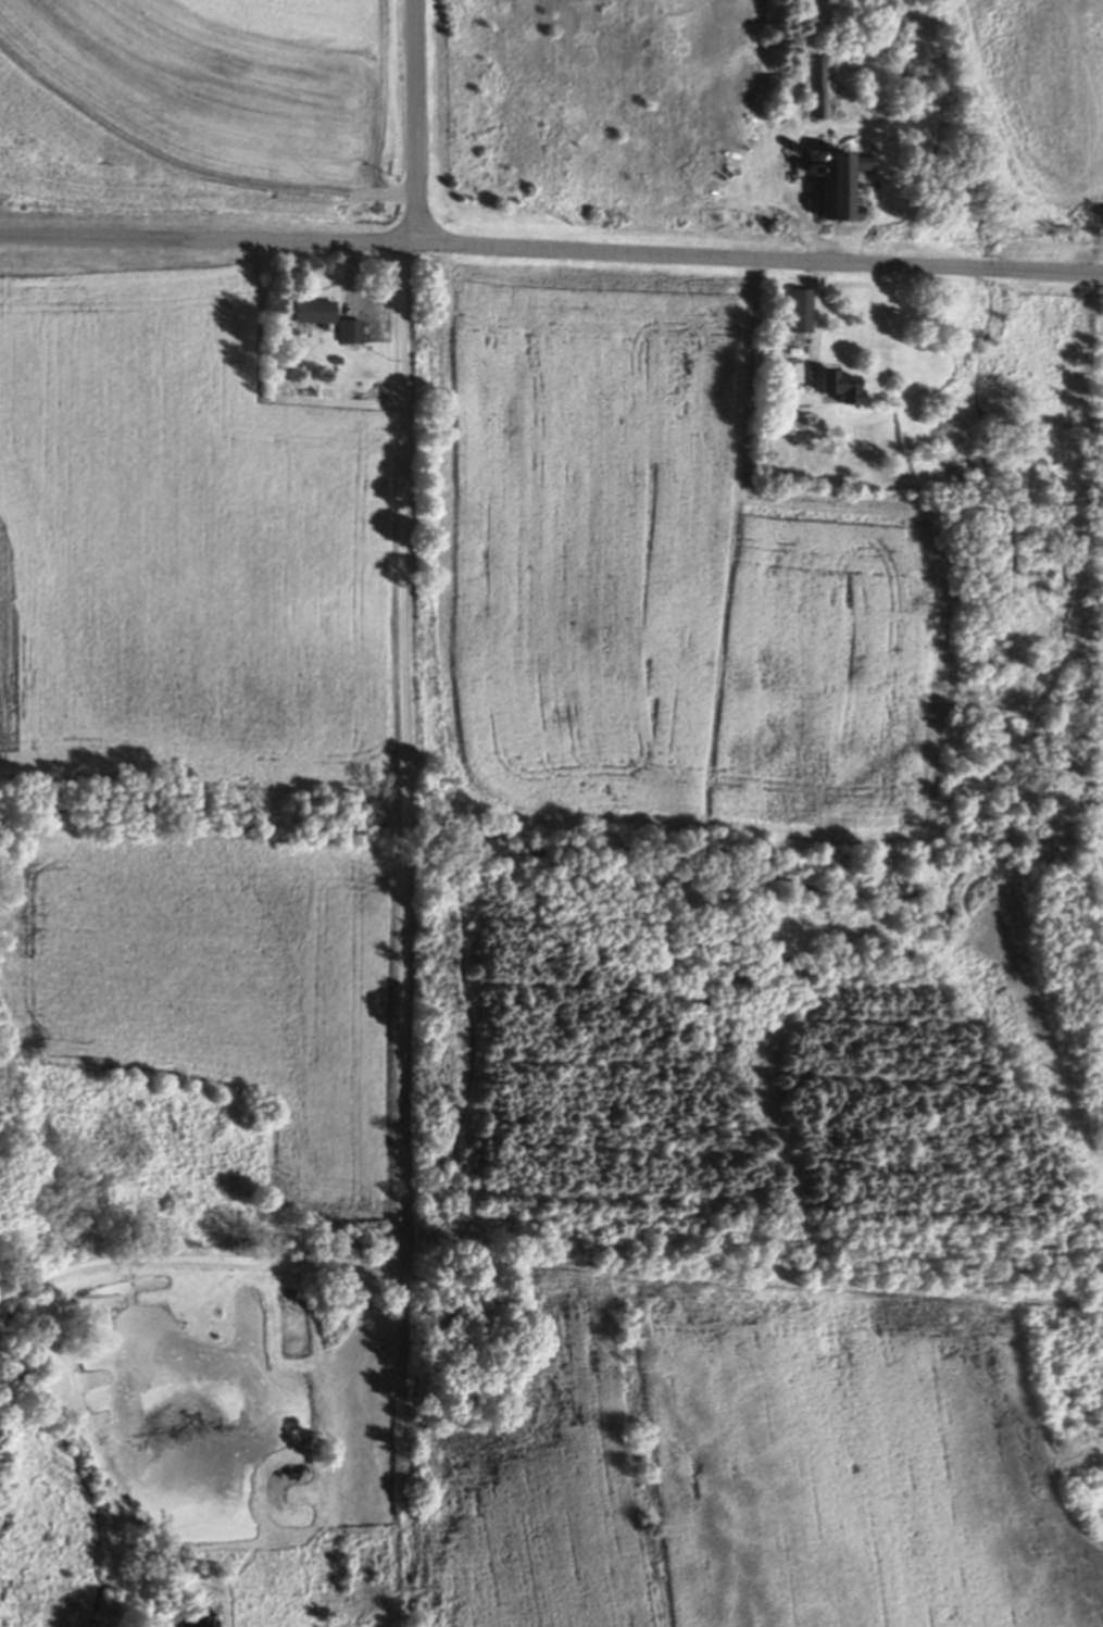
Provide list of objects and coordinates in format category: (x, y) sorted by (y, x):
building: (813, 91)
road: (418, 124)
building: (855, 166)
building: (829, 193)
road: (201, 243)
road: (411, 249)
road: (761, 263)
building: (794, 313)
building: (310, 315)
building: (347, 335)
building: (831, 391)
road: (409, 755)
road: (201, 1263)

